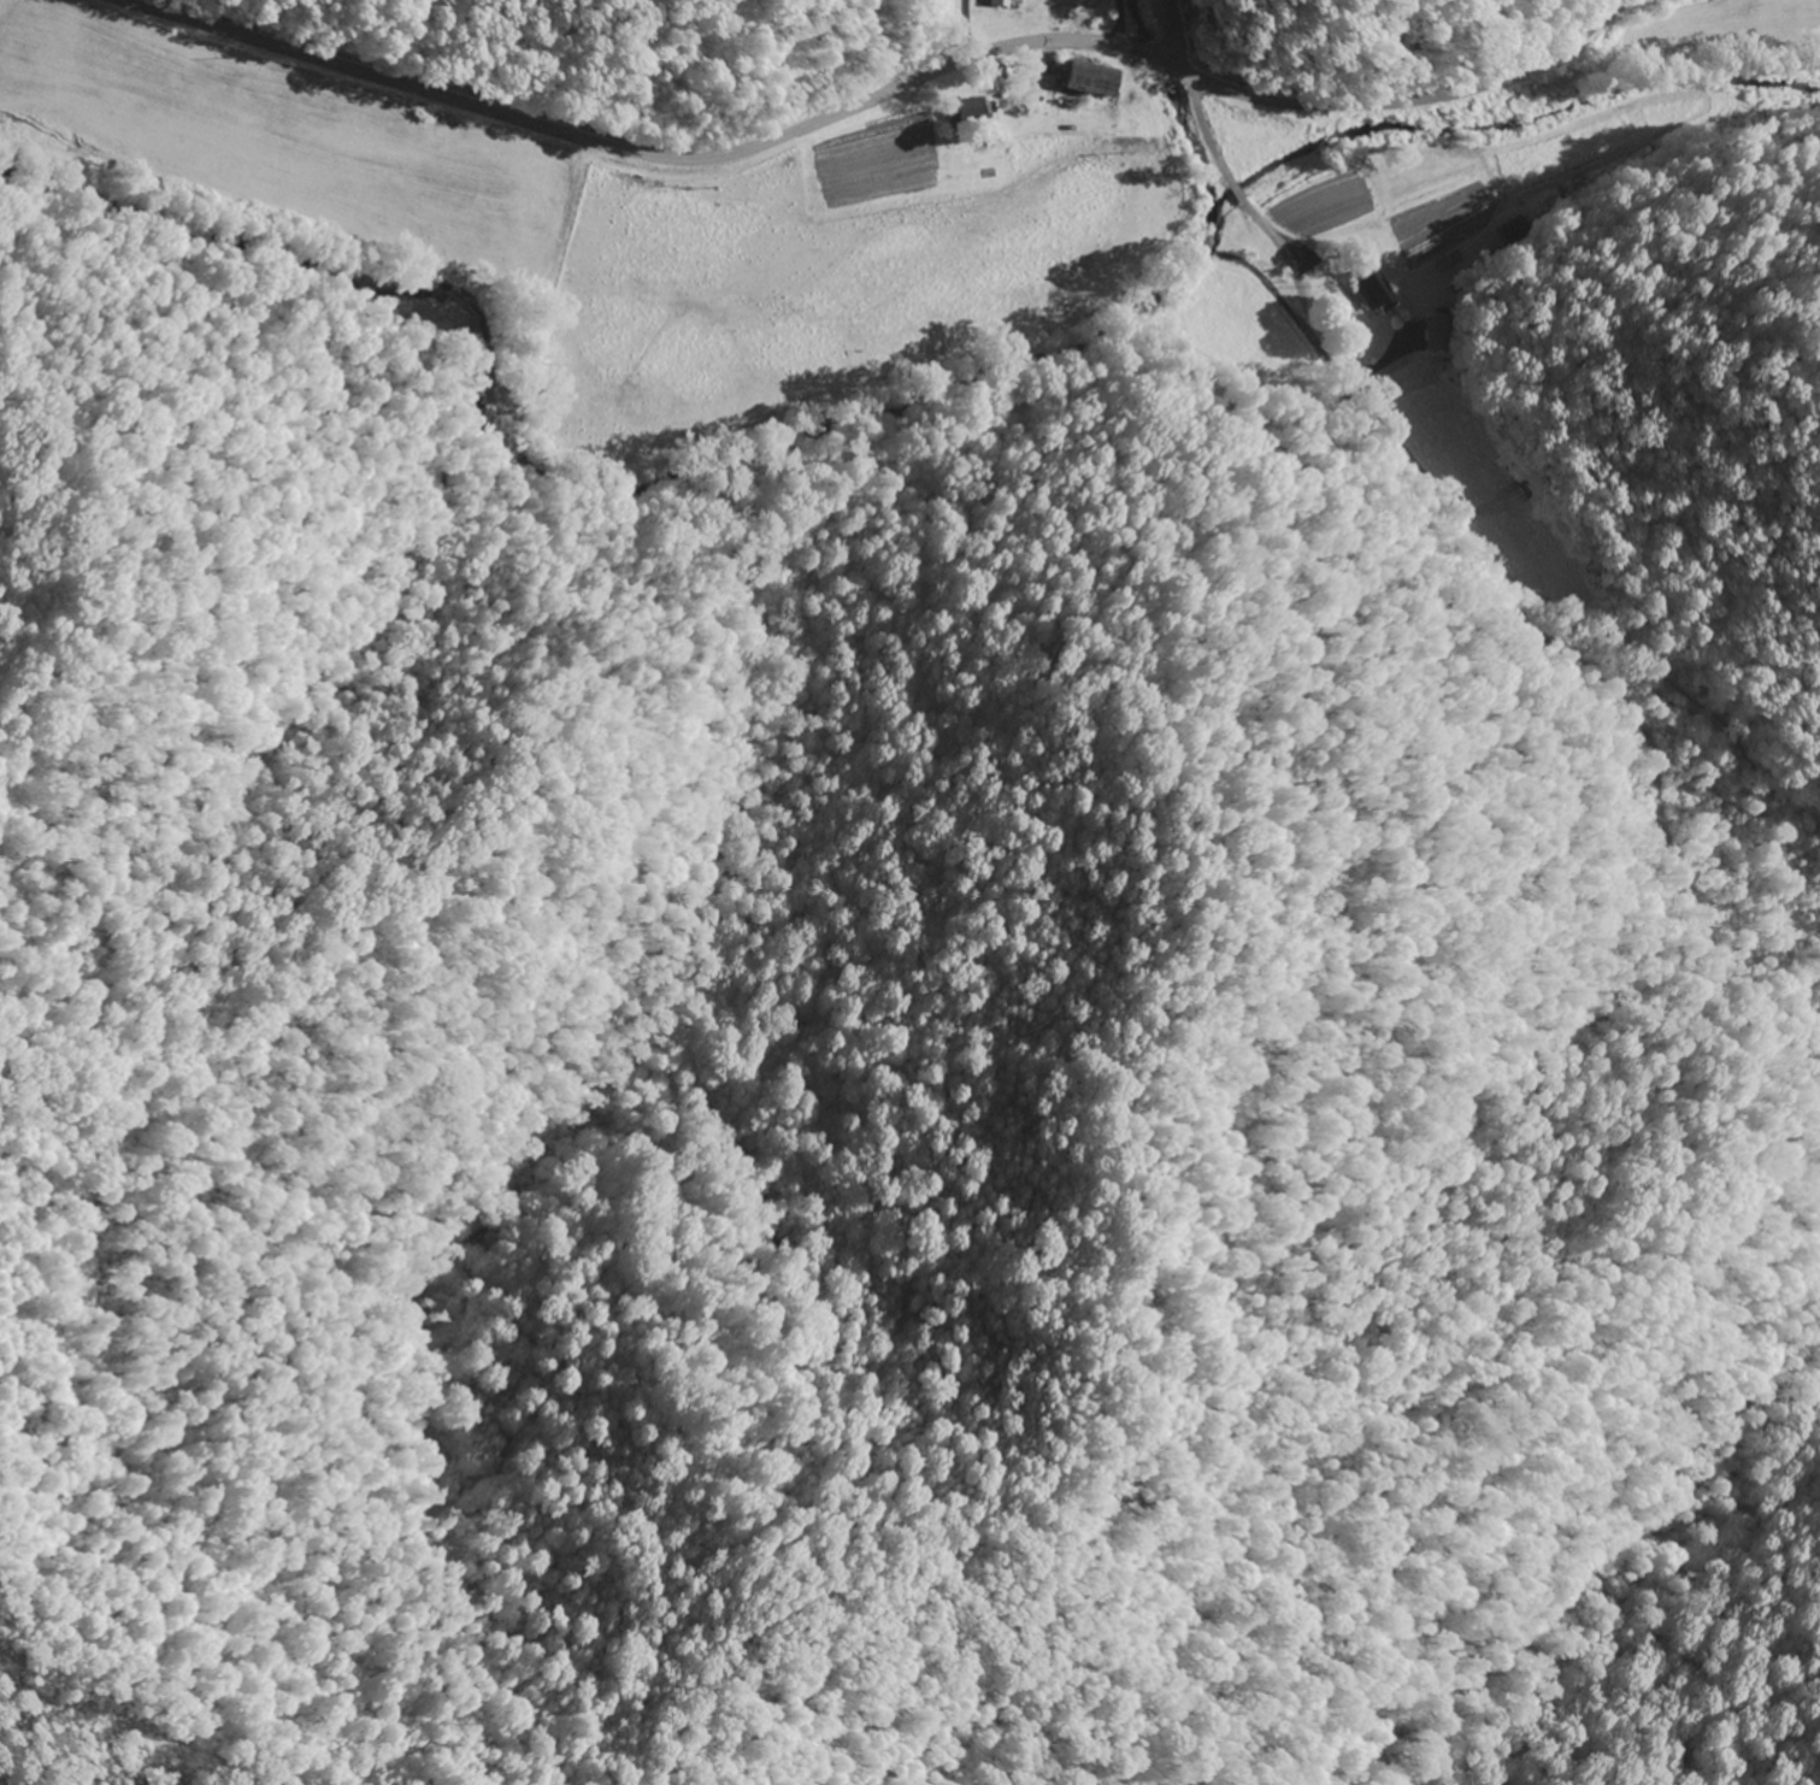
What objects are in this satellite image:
building: (1002, 4)
road: (1117, 24)
building: (1084, 79)
road: (1421, 101)
building: (976, 112)
road: (659, 159)
road: (1251, 211)
building: (1372, 293)

